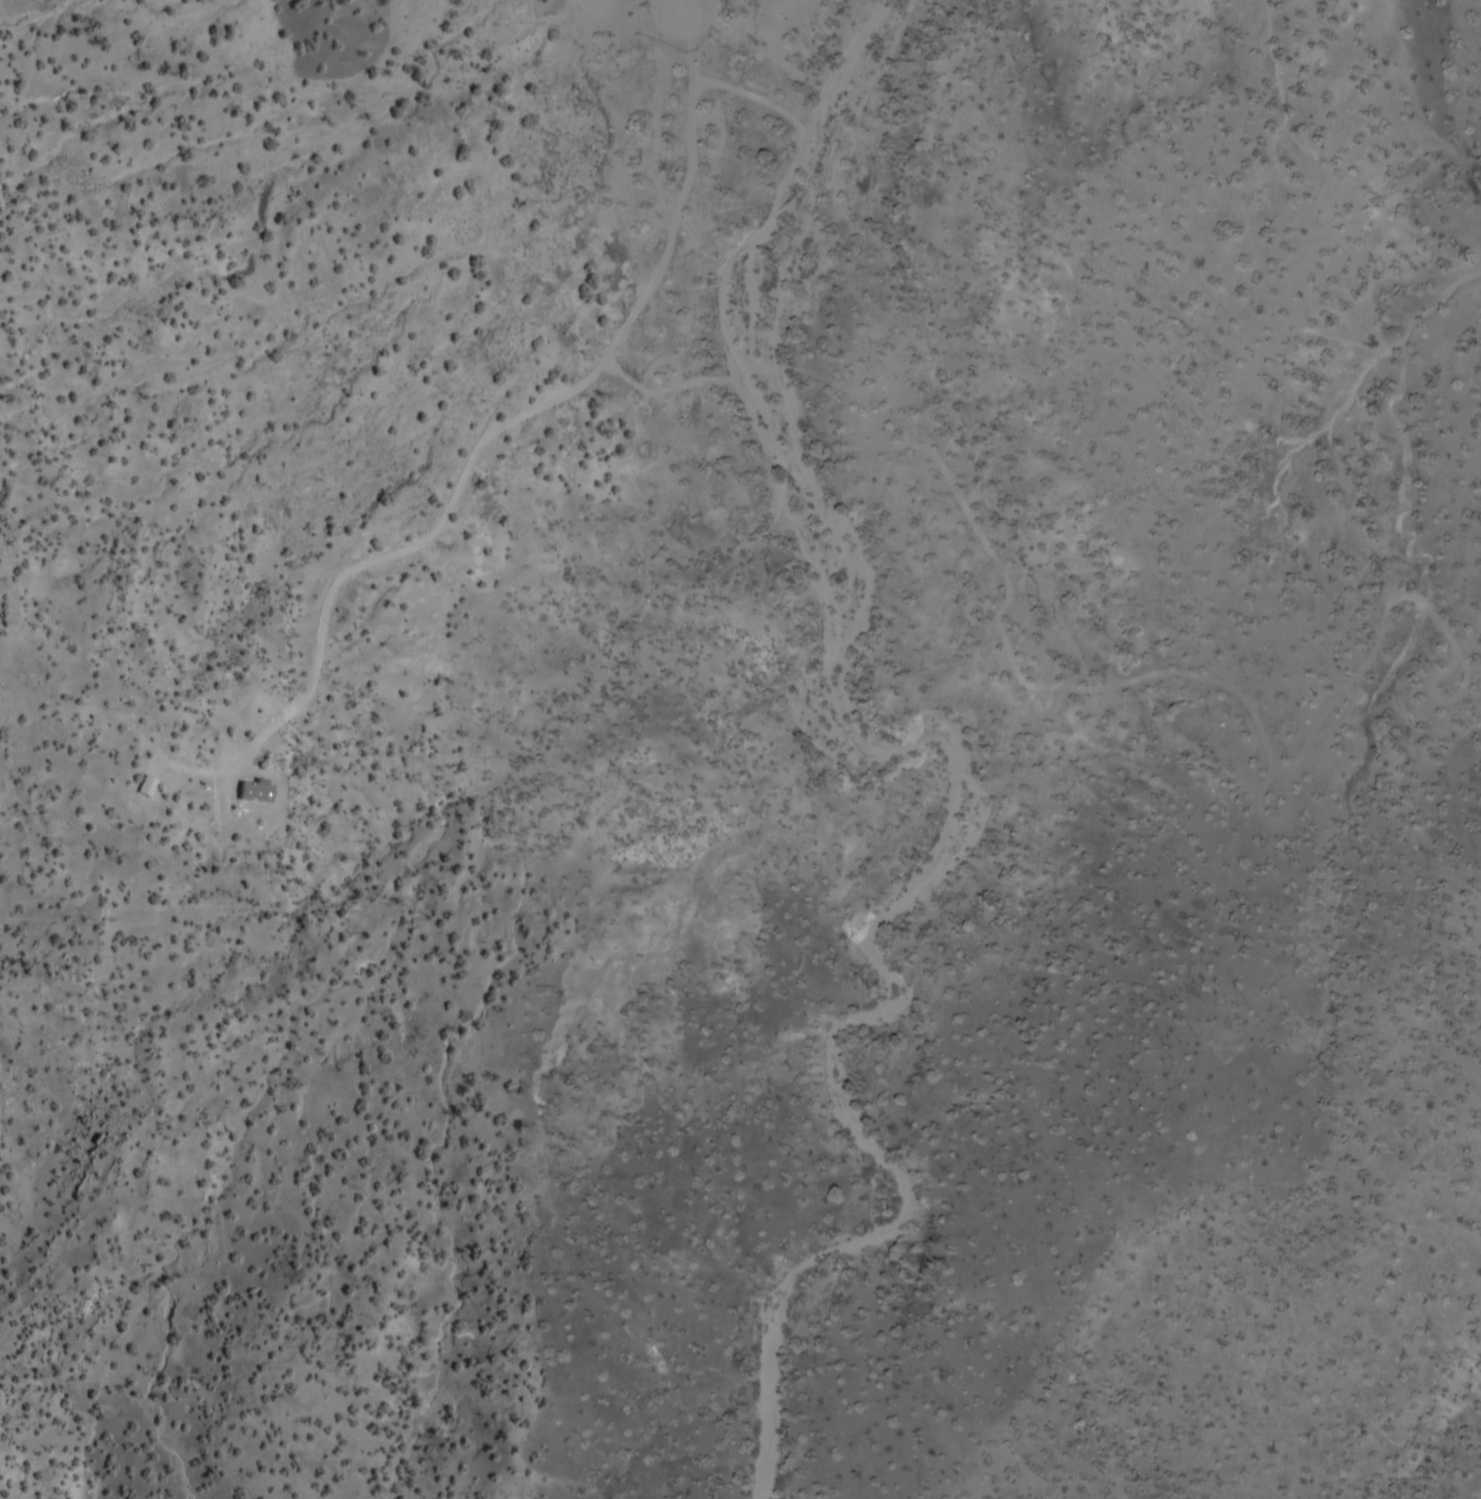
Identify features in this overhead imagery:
road: (683, 2)
building: (219, 808)

